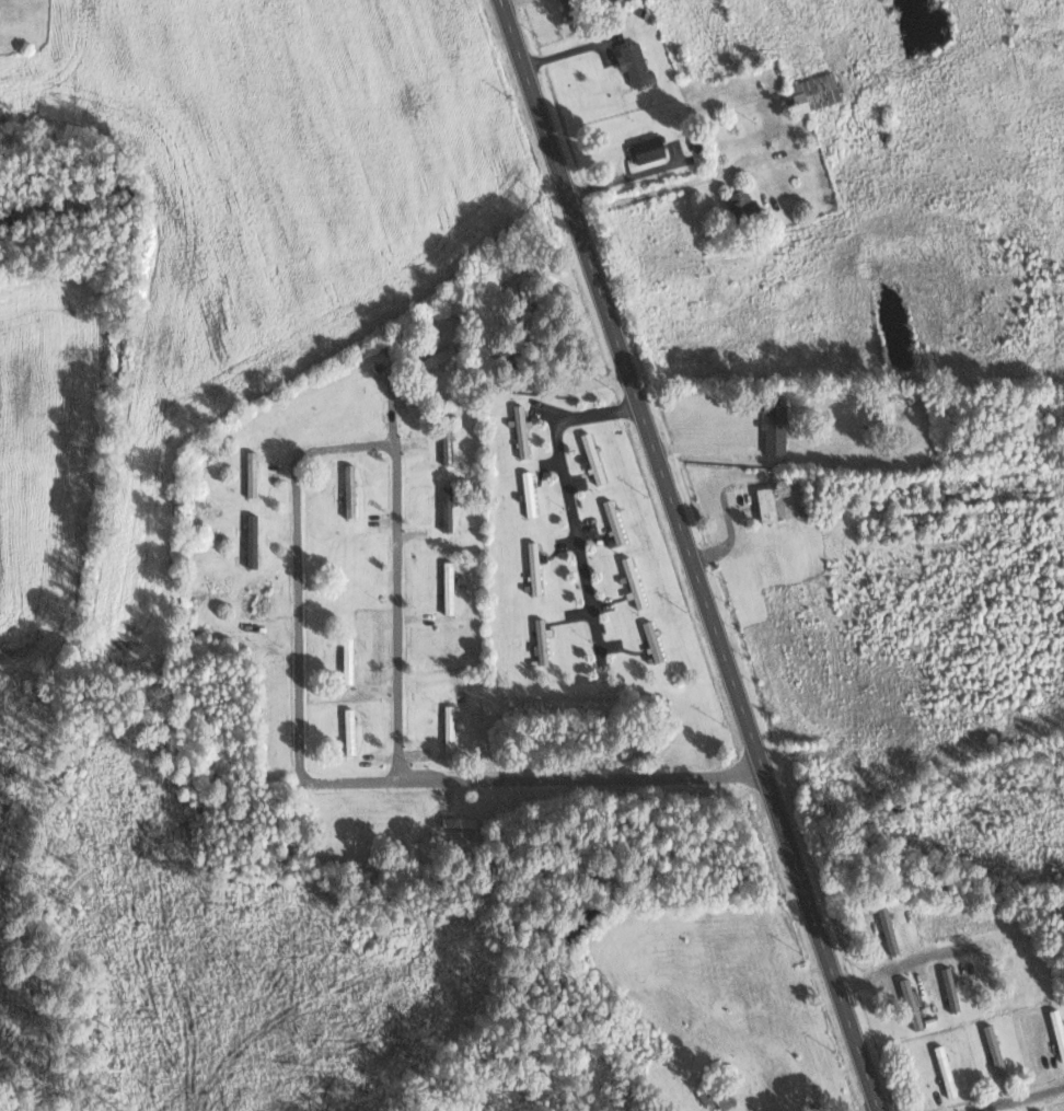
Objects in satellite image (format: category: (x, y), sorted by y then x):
building: (573, 8)
building: (635, 63)
building: (814, 92)
building: (648, 149)
building: (740, 202)
building: (775, 427)
building: (521, 429)
building: (447, 444)
building: (593, 456)
building: (766, 504)
road: (571, 505)
building: (447, 507)
building: (613, 520)
road: (691, 554)
building: (628, 564)
building: (535, 566)
road: (394, 568)
building: (542, 640)
building: (652, 640)
road: (324, 784)
building: (459, 821)
building: (888, 927)
road: (906, 962)
building: (1060, 1040)
building: (949, 1081)
building: (719, 1099)
road: (1019, 1099)

